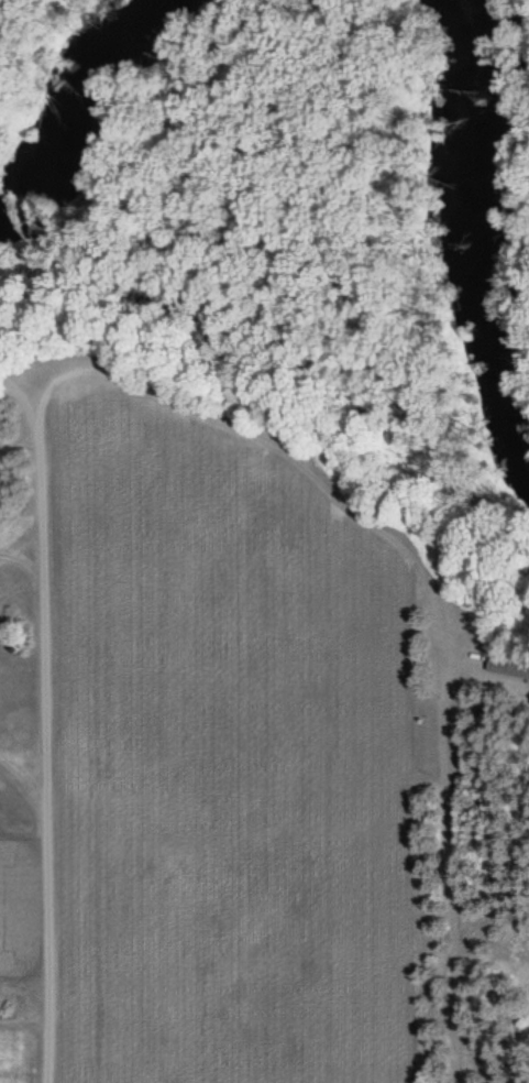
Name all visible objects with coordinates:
river: (74, 106)
river: (471, 233)
building: (507, 666)
road: (45, 736)

